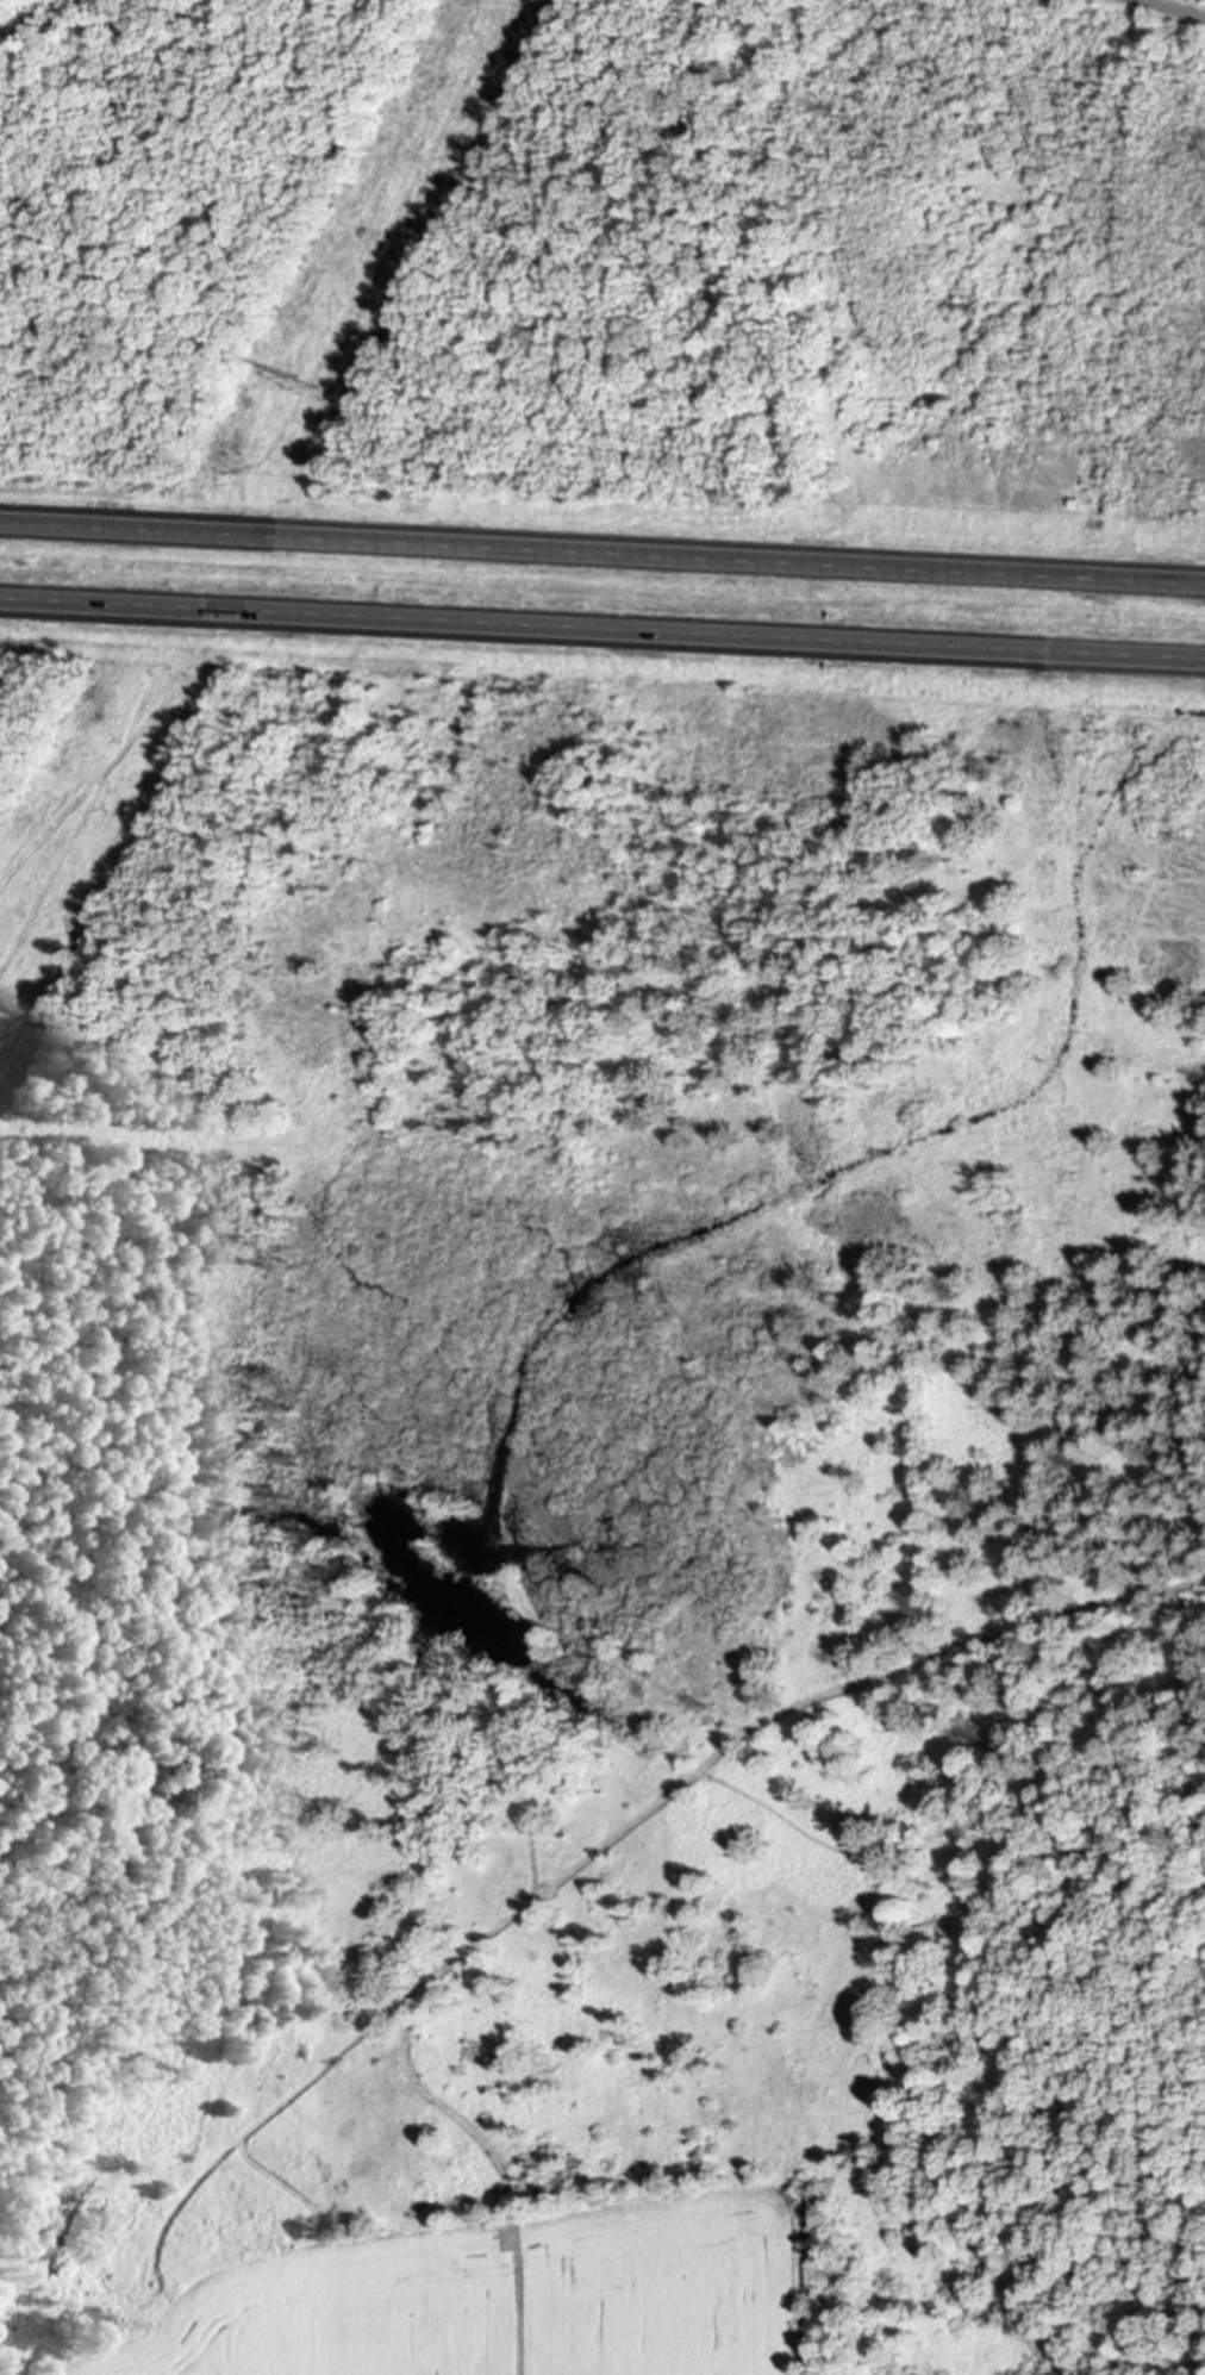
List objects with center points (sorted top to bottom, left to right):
road: (1178, 7)
road: (602, 551)
road: (601, 629)
crop: (514, 2289)

